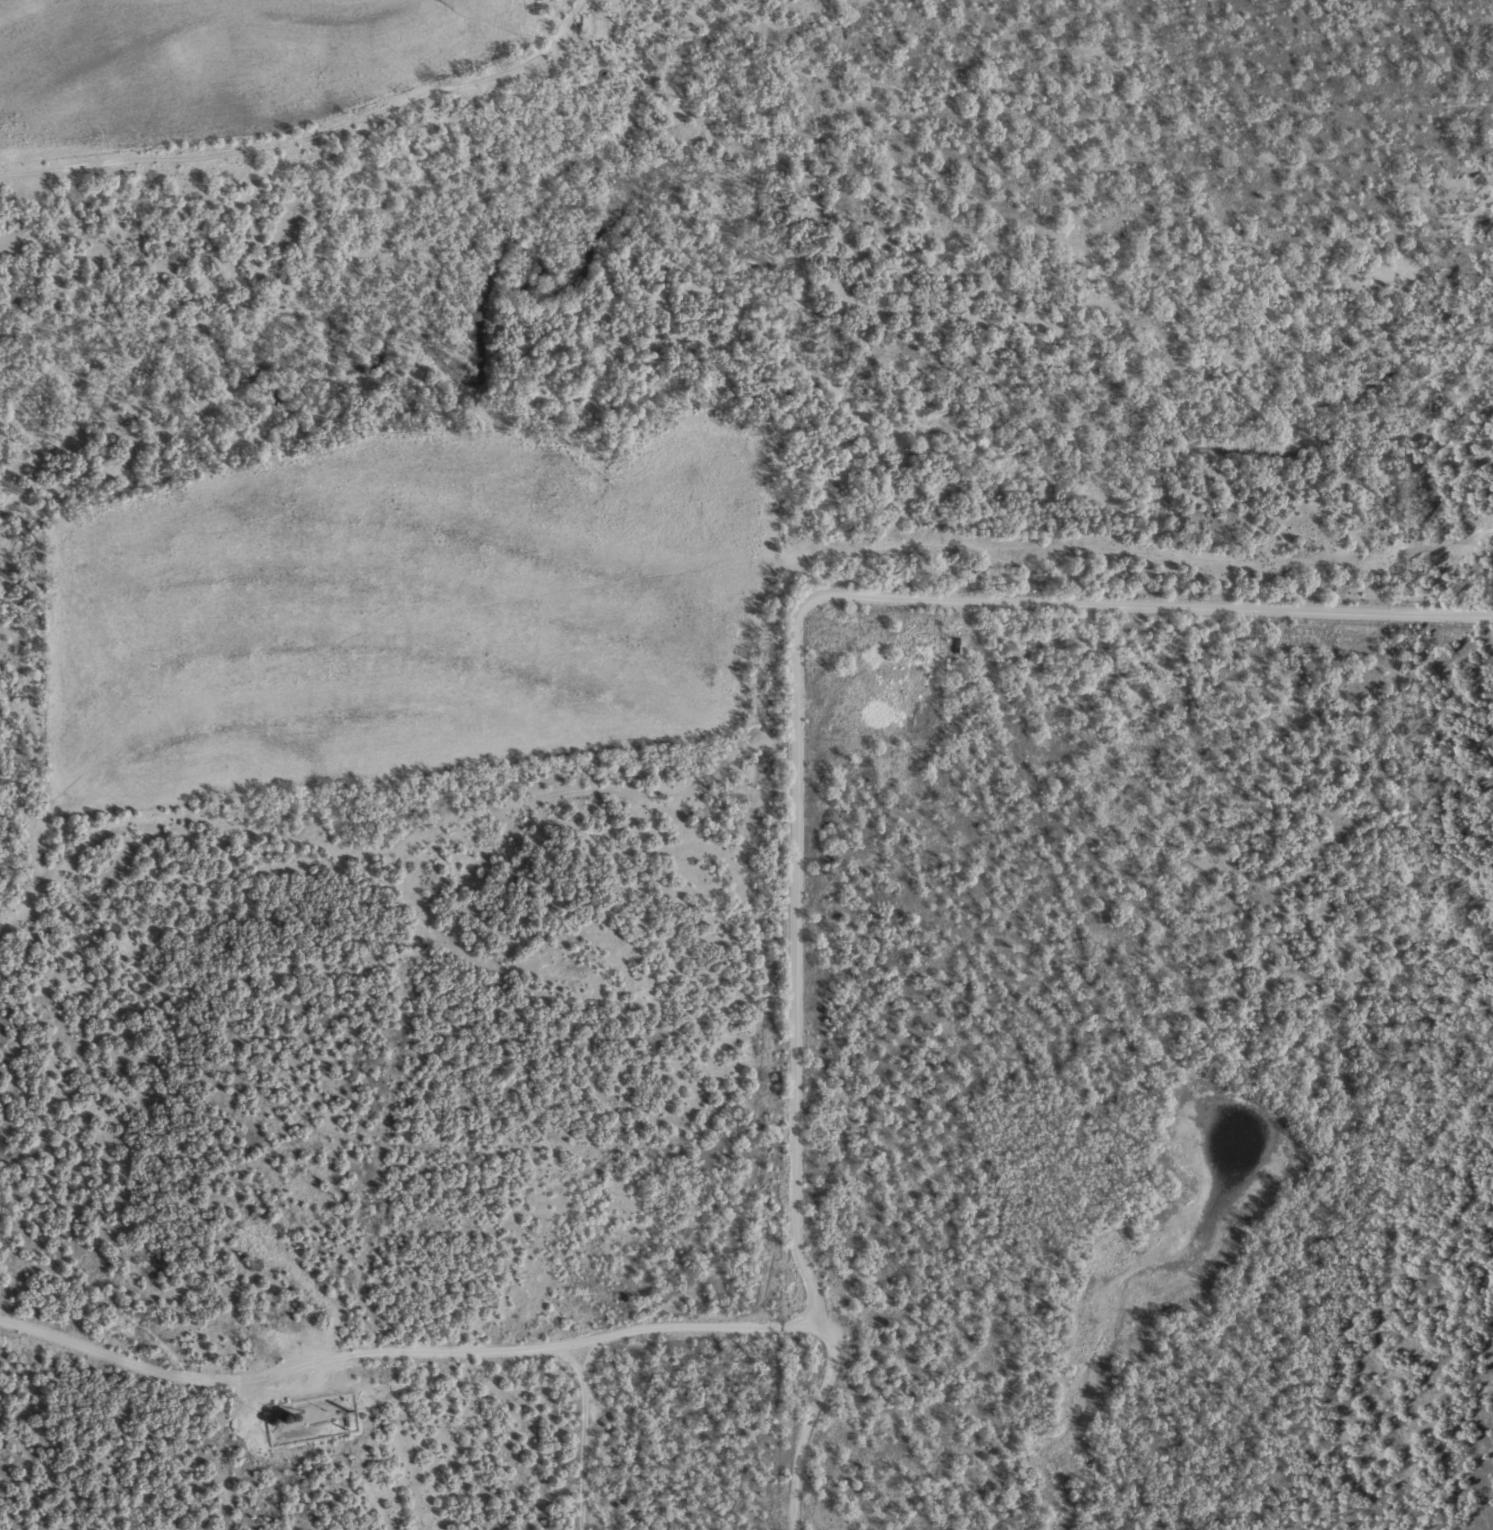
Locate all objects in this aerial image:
road: (362, 208)
road: (753, 807)
road: (1416, 1308)
road: (599, 1343)

